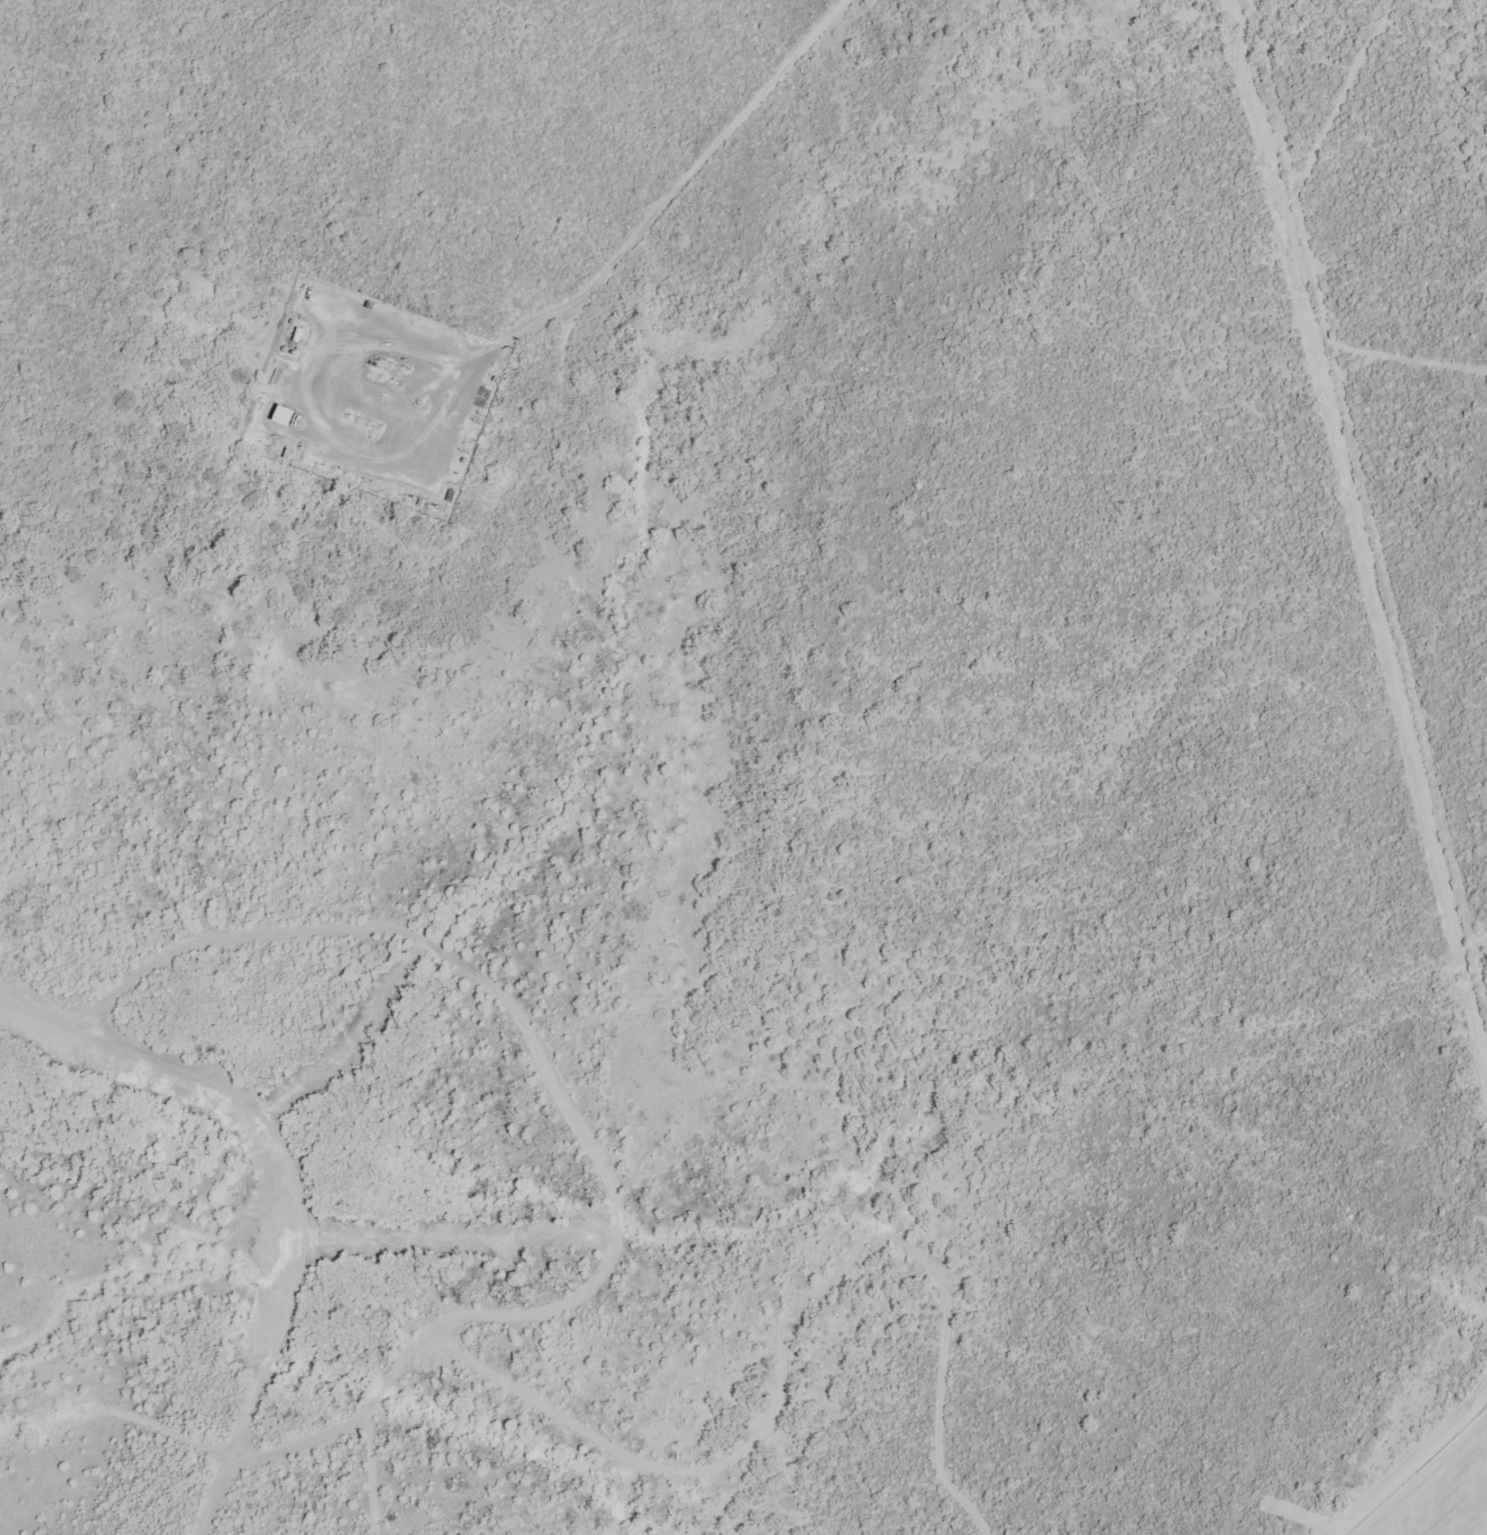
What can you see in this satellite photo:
building: (321, 305)
road: (544, 323)
building: (285, 415)
road: (334, 1218)
road: (532, 1313)
road: (781, 1327)
road: (244, 1418)

